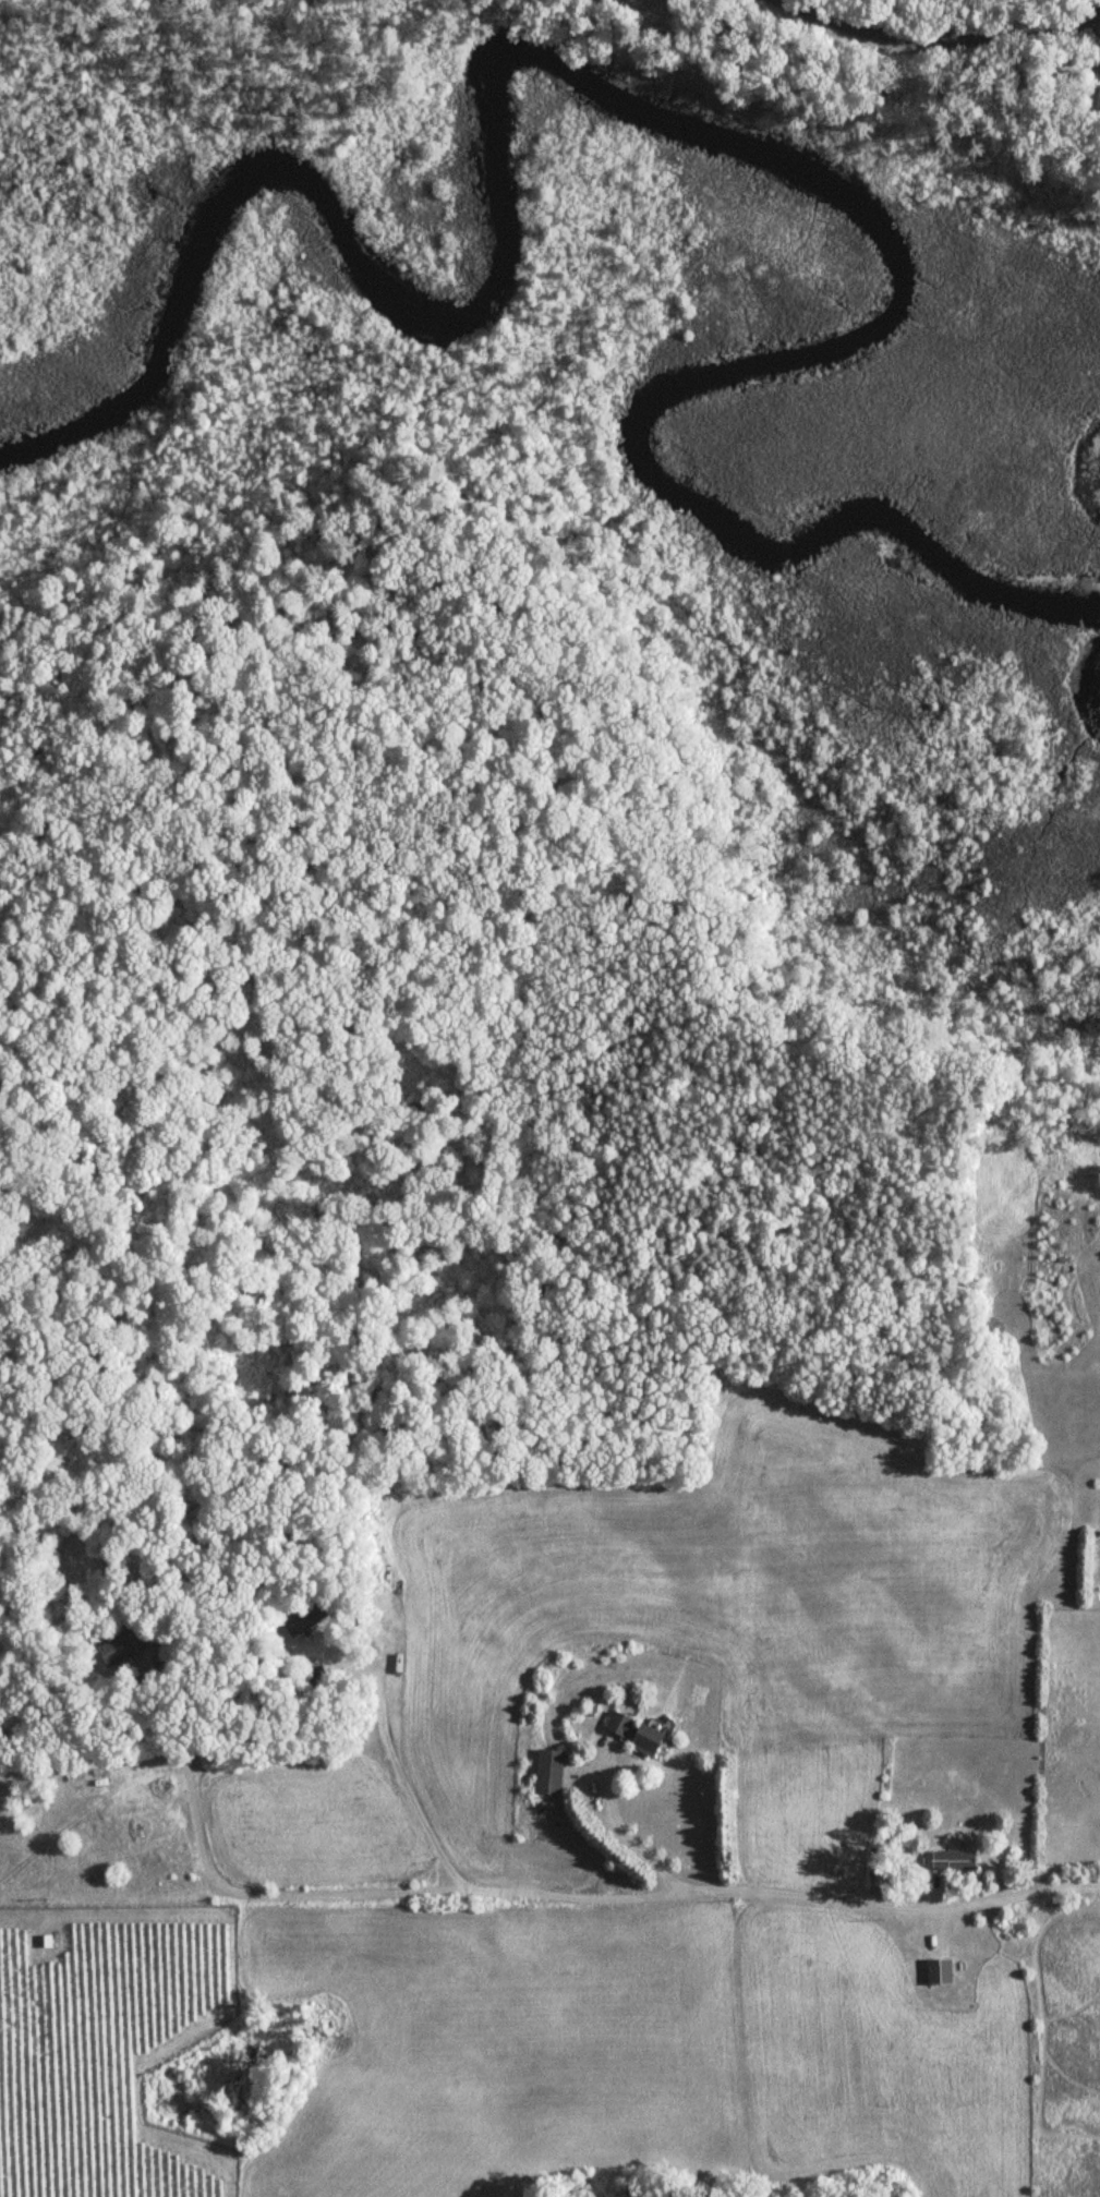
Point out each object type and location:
road: (940, 35)
building: (1097, 97)
road: (1039, 1157)
building: (301, 1618)
building: (119, 1644)
building: (634, 1733)
building: (547, 1772)
road: (406, 1779)
road: (193, 1800)
road: (633, 1846)
building: (952, 1861)
road: (673, 1893)
building: (938, 1971)

